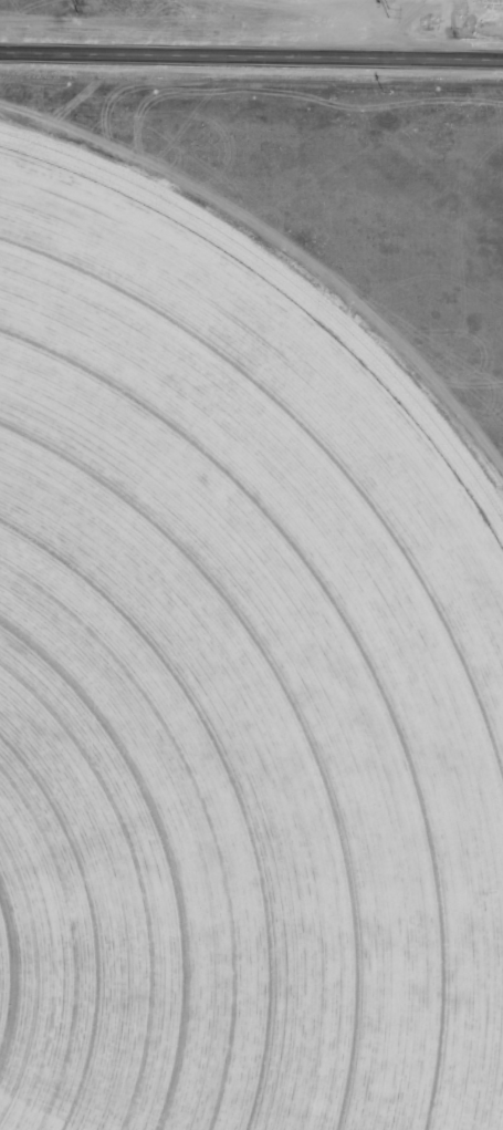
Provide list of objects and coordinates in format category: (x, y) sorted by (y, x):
road: (251, 56)

